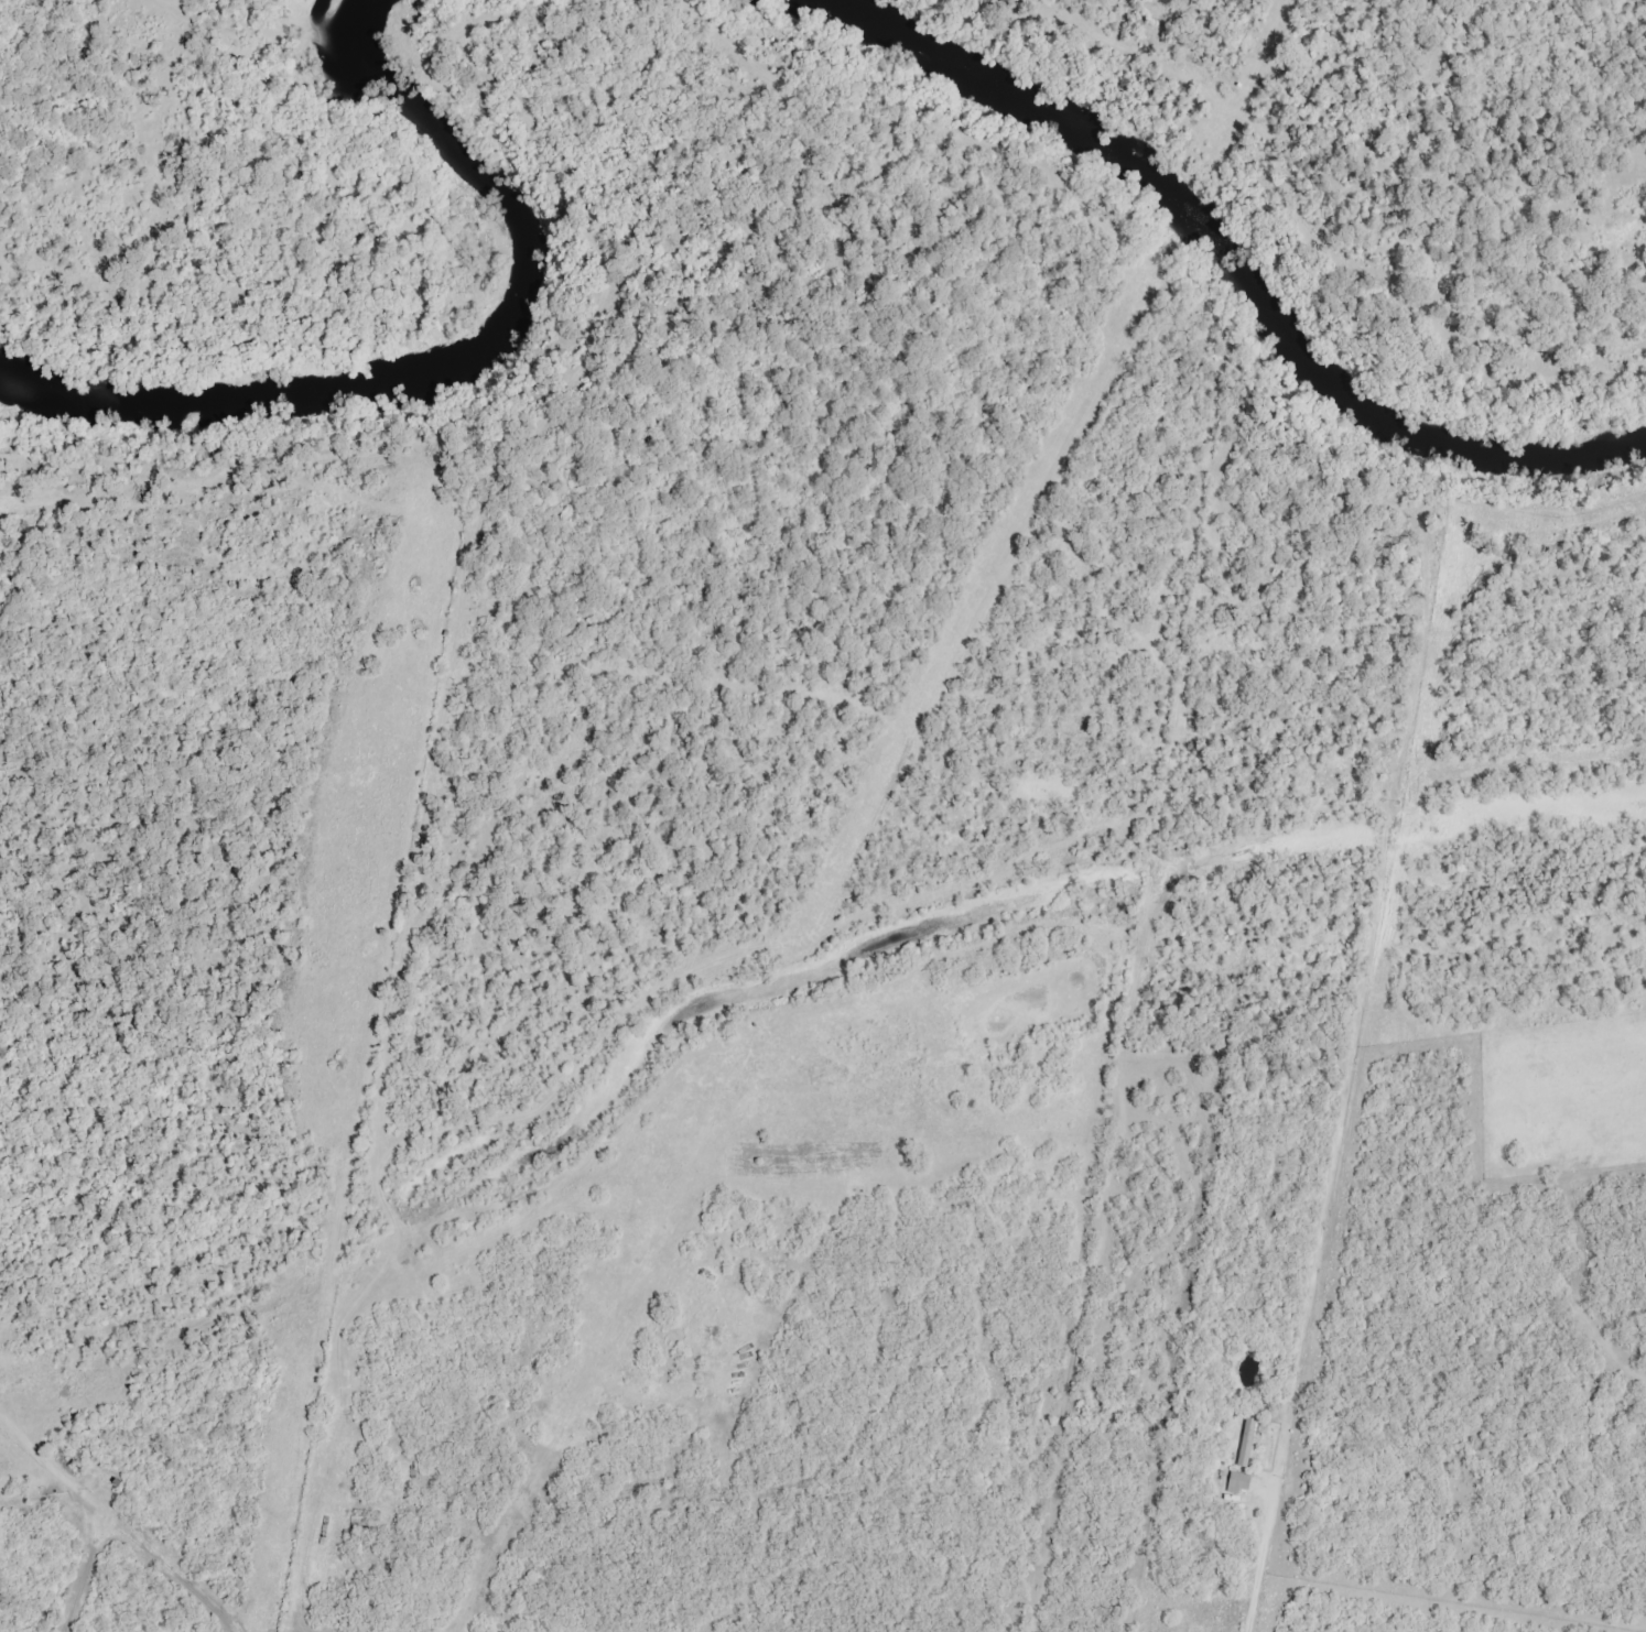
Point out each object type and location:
river: (1235, 258)
river: (447, 361)
road: (1300, 1314)
building: (1242, 1441)
building: (1234, 1482)

